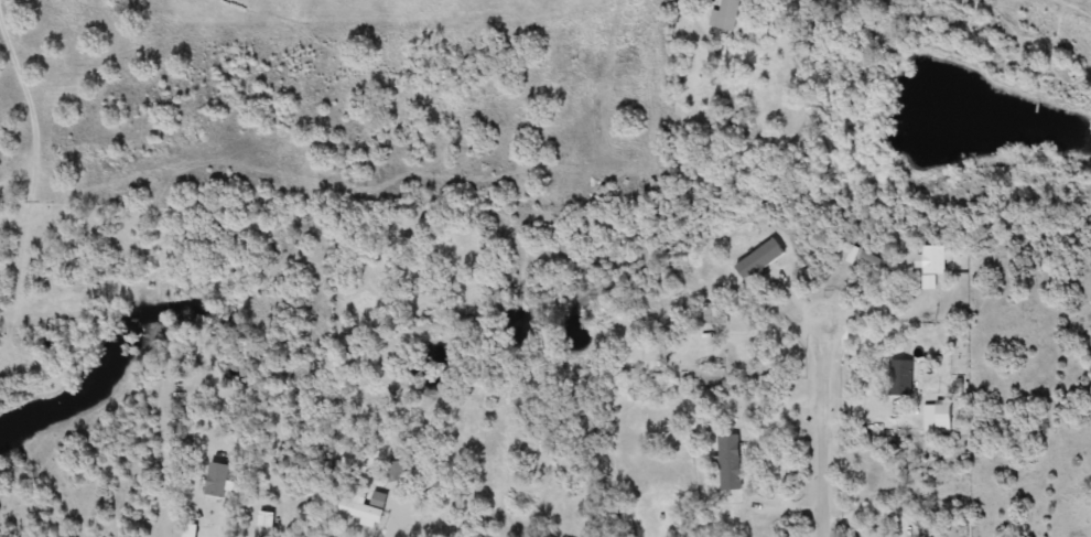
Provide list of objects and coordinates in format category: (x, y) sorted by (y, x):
building: (726, 15)
road: (31, 99)
building: (761, 259)
building: (872, 260)
building: (933, 262)
road: (755, 336)
building: (655, 353)
building: (901, 377)
road: (825, 428)
building: (731, 463)
building: (218, 481)
building: (364, 508)
road: (272, 511)
road: (393, 523)

